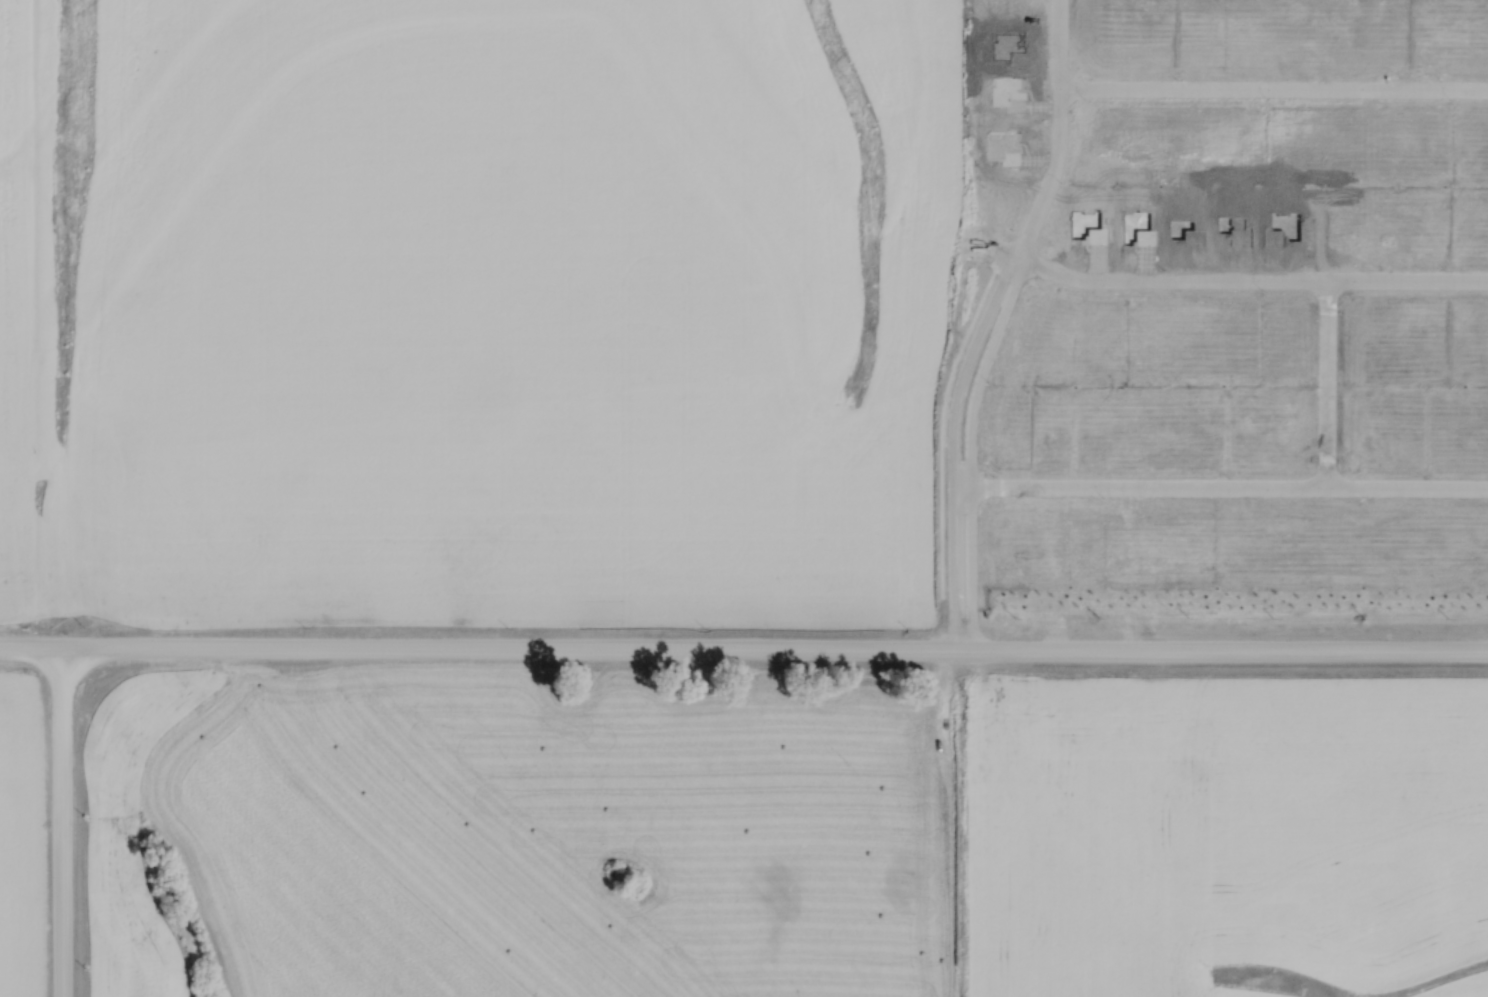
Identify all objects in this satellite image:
road: (1275, 84)
road: (1052, 129)
road: (1251, 279)
road: (1328, 382)
road: (954, 448)
road: (973, 451)
road: (1220, 485)
building: (1131, 493)
building: (1174, 561)
road: (1231, 653)
road: (742, 654)
road: (255, 655)
road: (68, 826)

